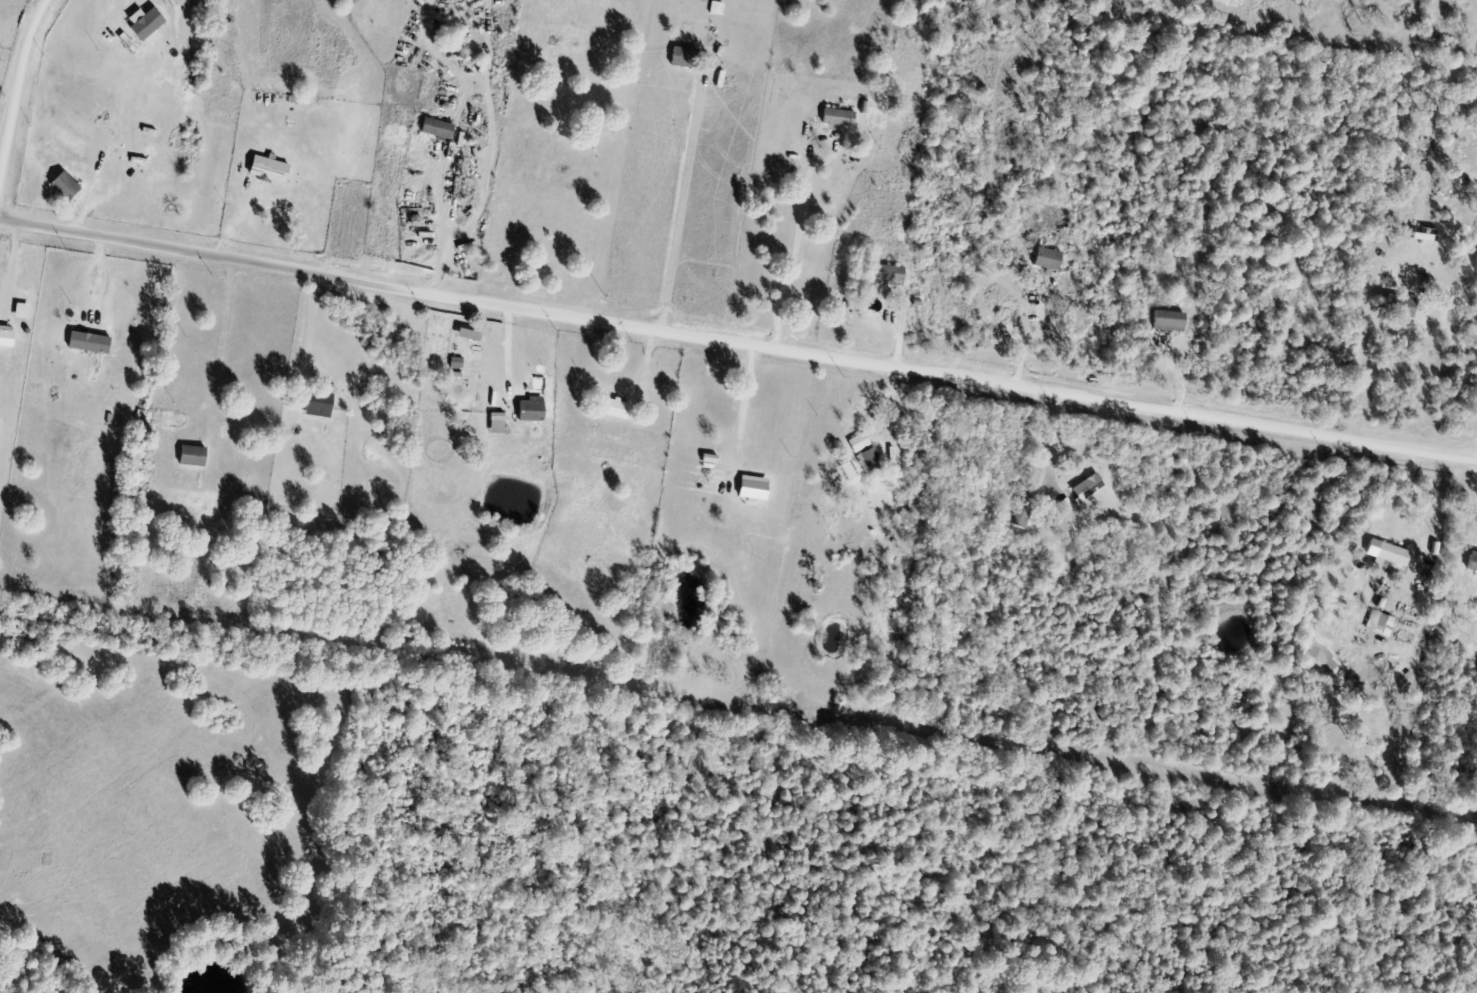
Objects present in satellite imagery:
building: (148, 30)
building: (0, 41)
building: (683, 58)
road: (17, 87)
building: (837, 118)
building: (436, 128)
building: (1430, 142)
building: (268, 170)
building: (69, 187)
building: (1045, 259)
building: (885, 275)
building: (25, 313)
building: (1167, 321)
building: (9, 338)
road: (738, 342)
building: (93, 344)
building: (317, 403)
building: (612, 408)
building: (529, 412)
building: (858, 442)
building: (186, 445)
building: (869, 461)
building: (1087, 488)
building: (751, 489)
building: (1021, 511)
building: (907, 519)
building: (1391, 554)
building: (1472, 562)

